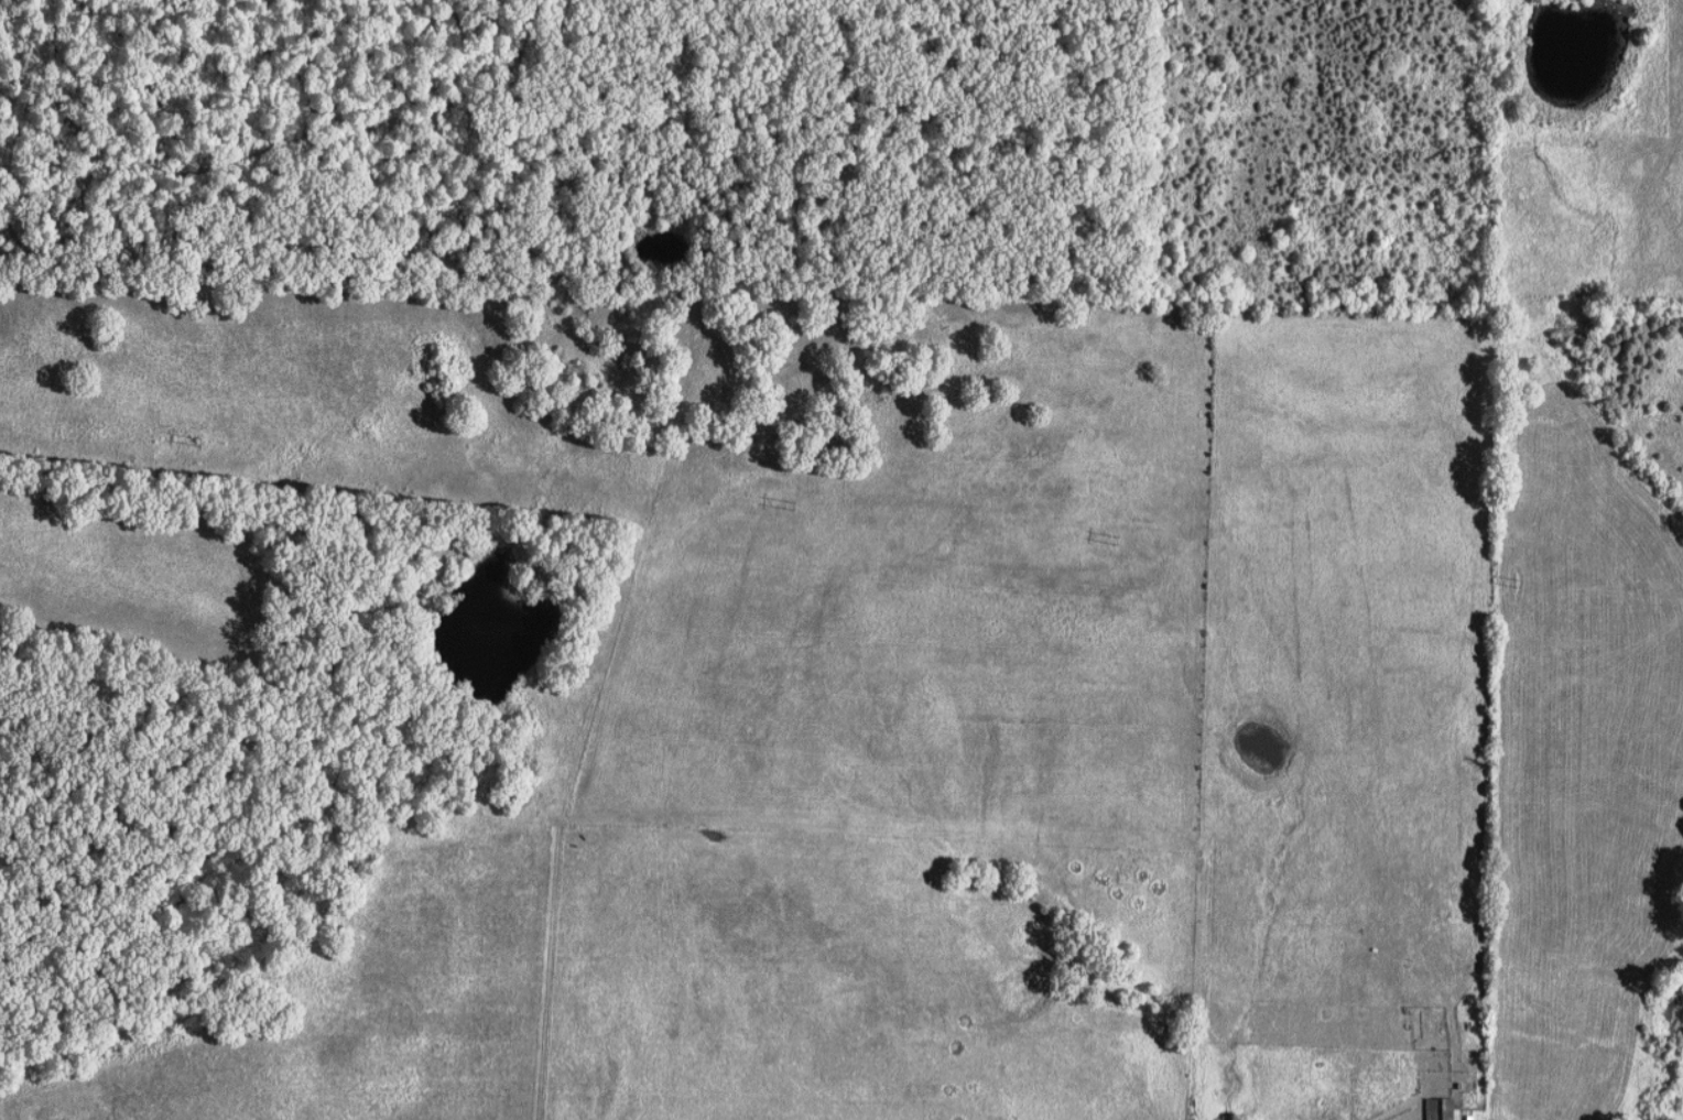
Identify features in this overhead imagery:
building: (1440, 1109)

